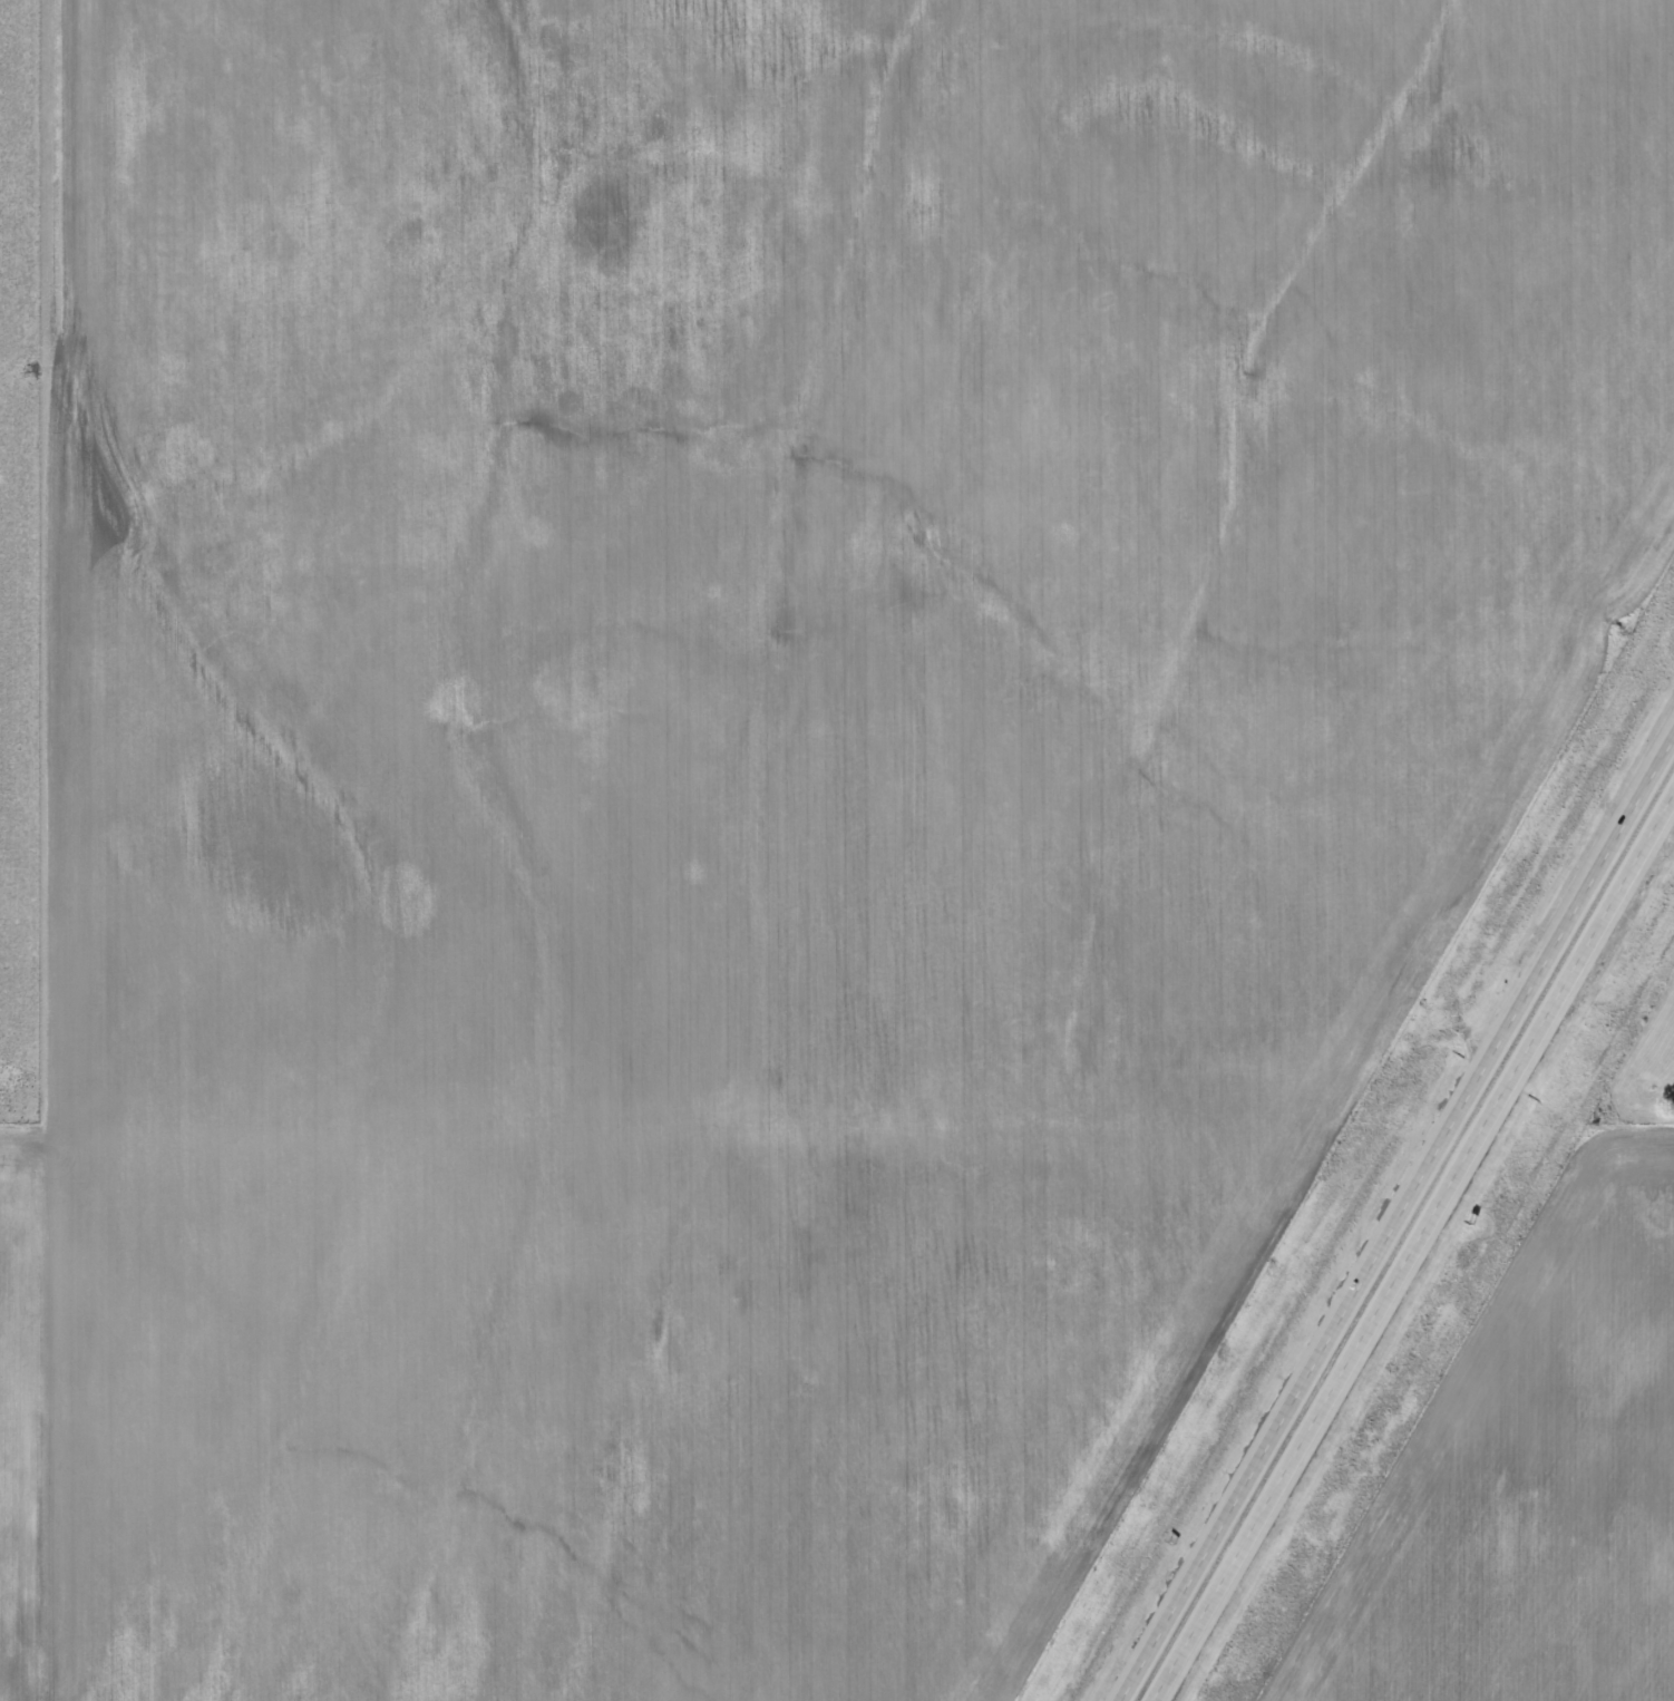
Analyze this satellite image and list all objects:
road: (1396, 1217)
road: (1412, 1246)

